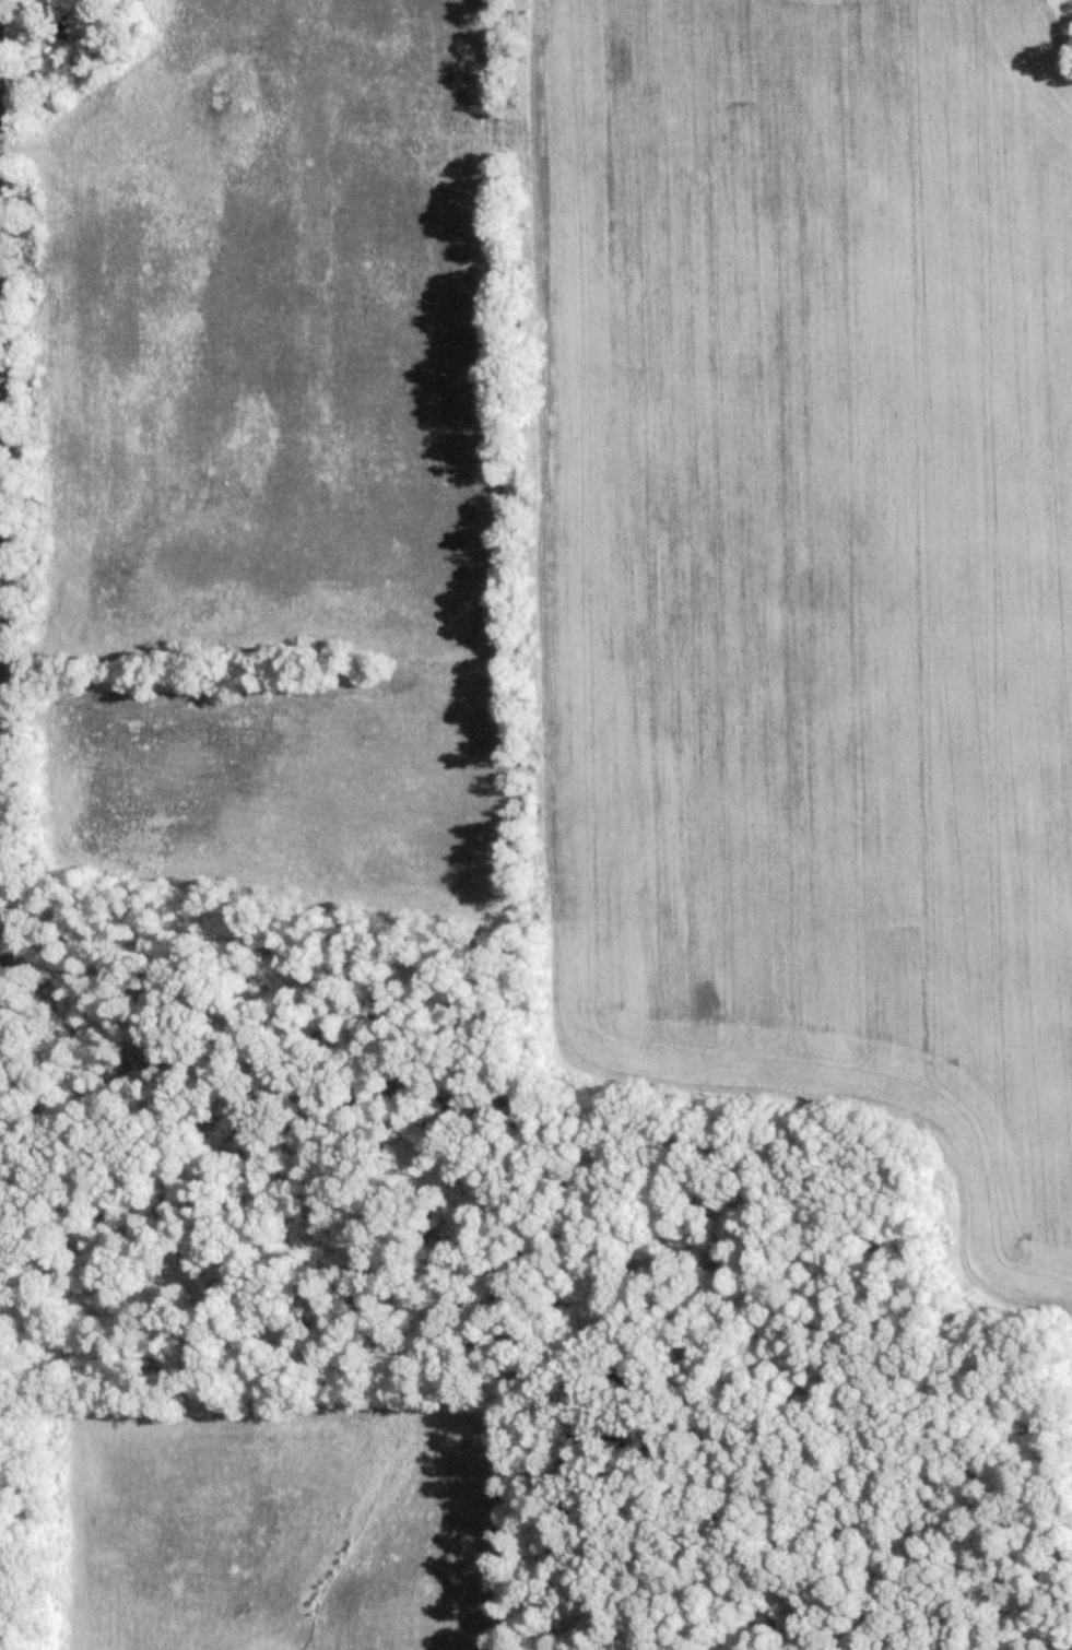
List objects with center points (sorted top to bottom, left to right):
road: (3, 960)

